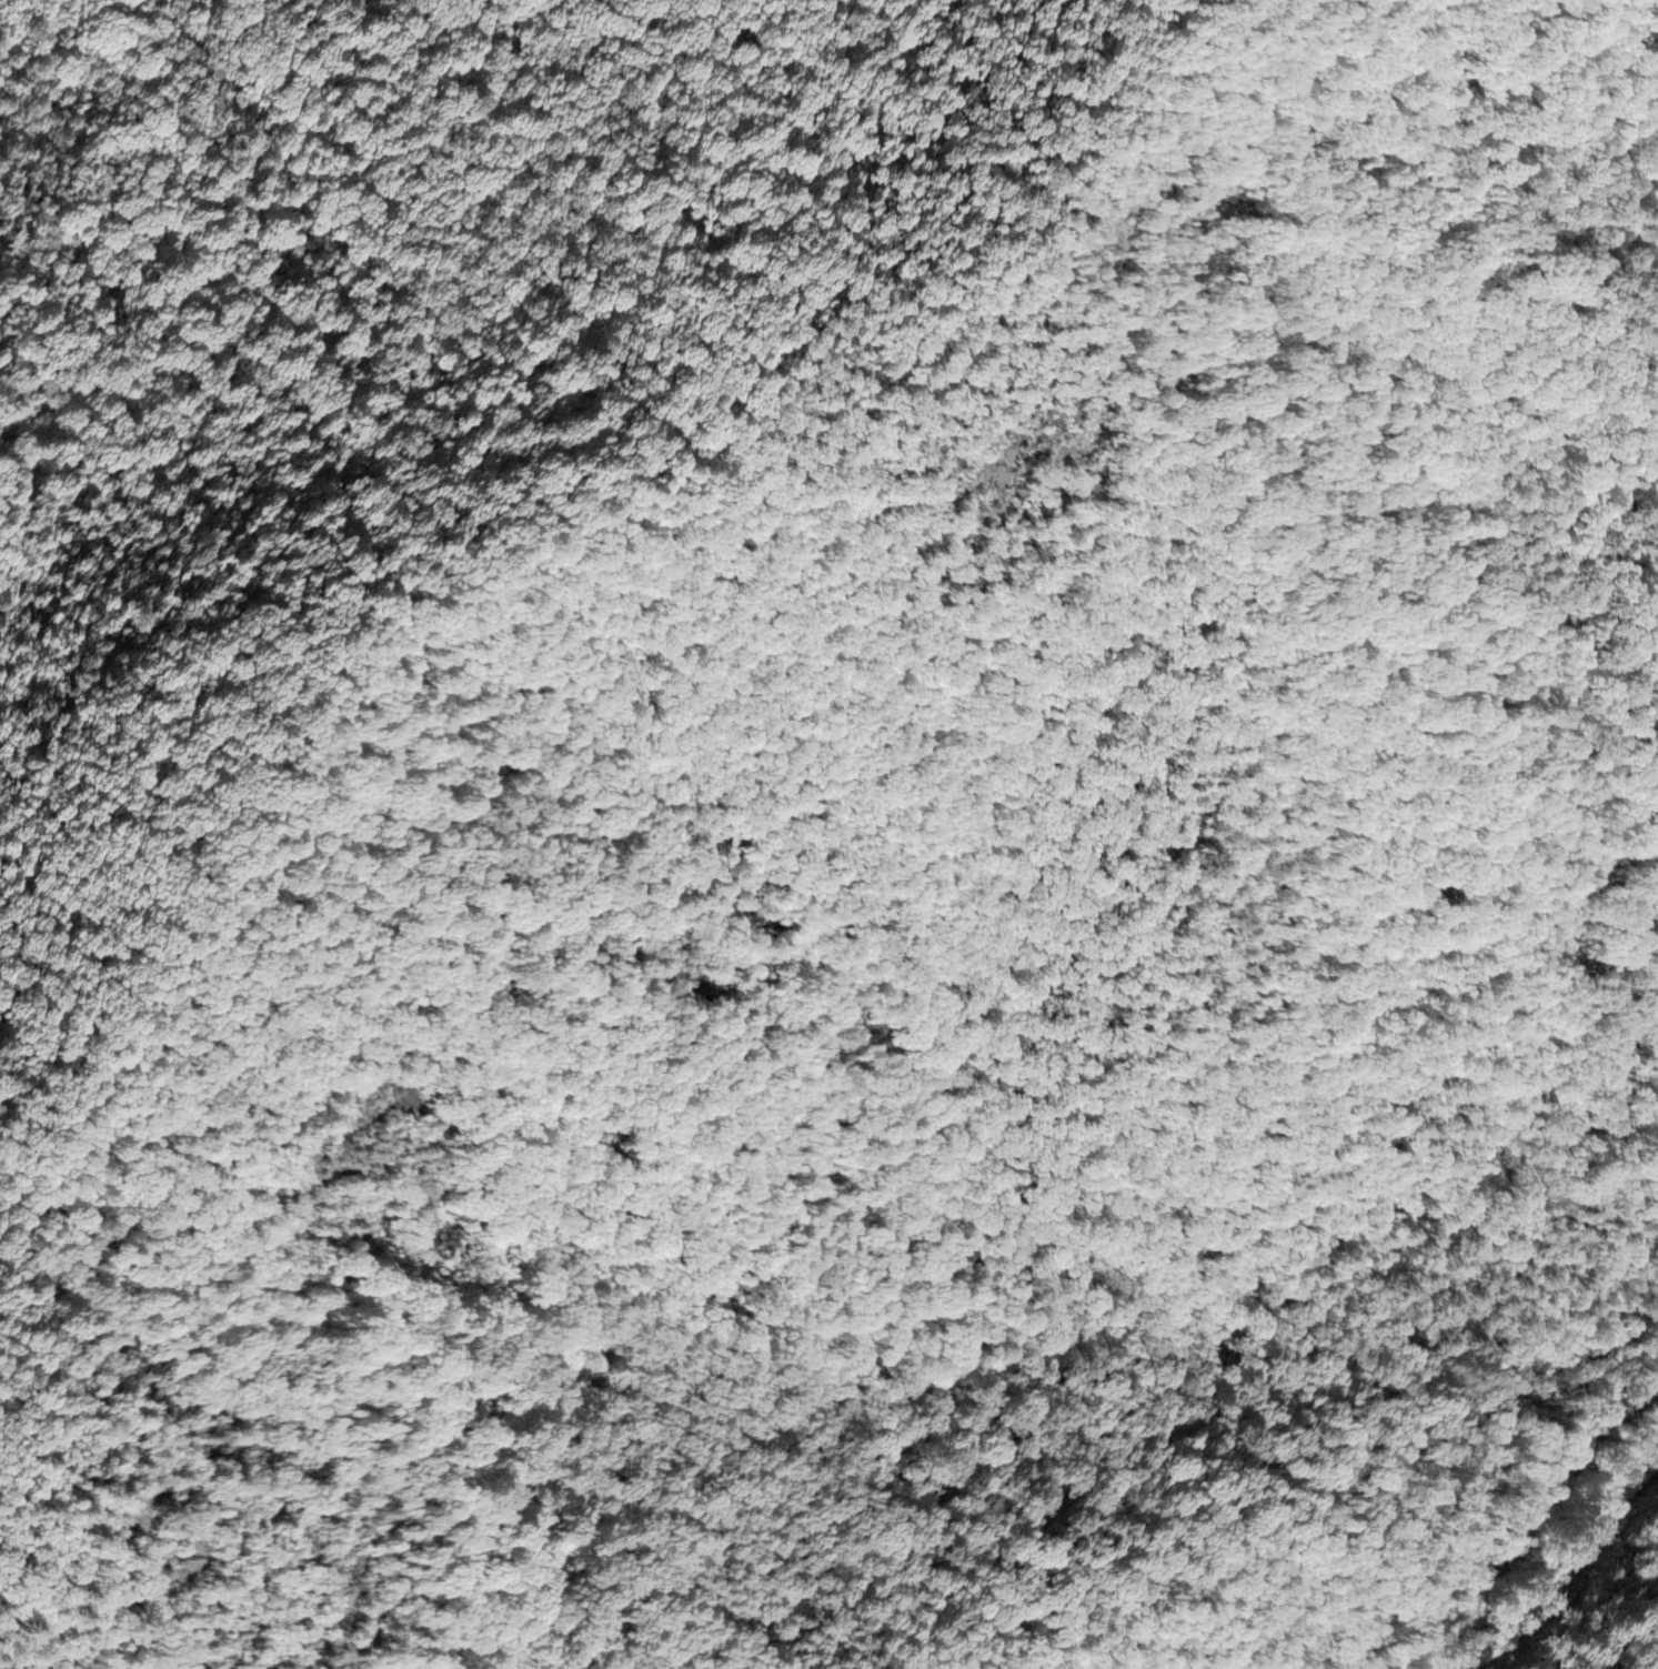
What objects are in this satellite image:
road: (1570, 1424)

